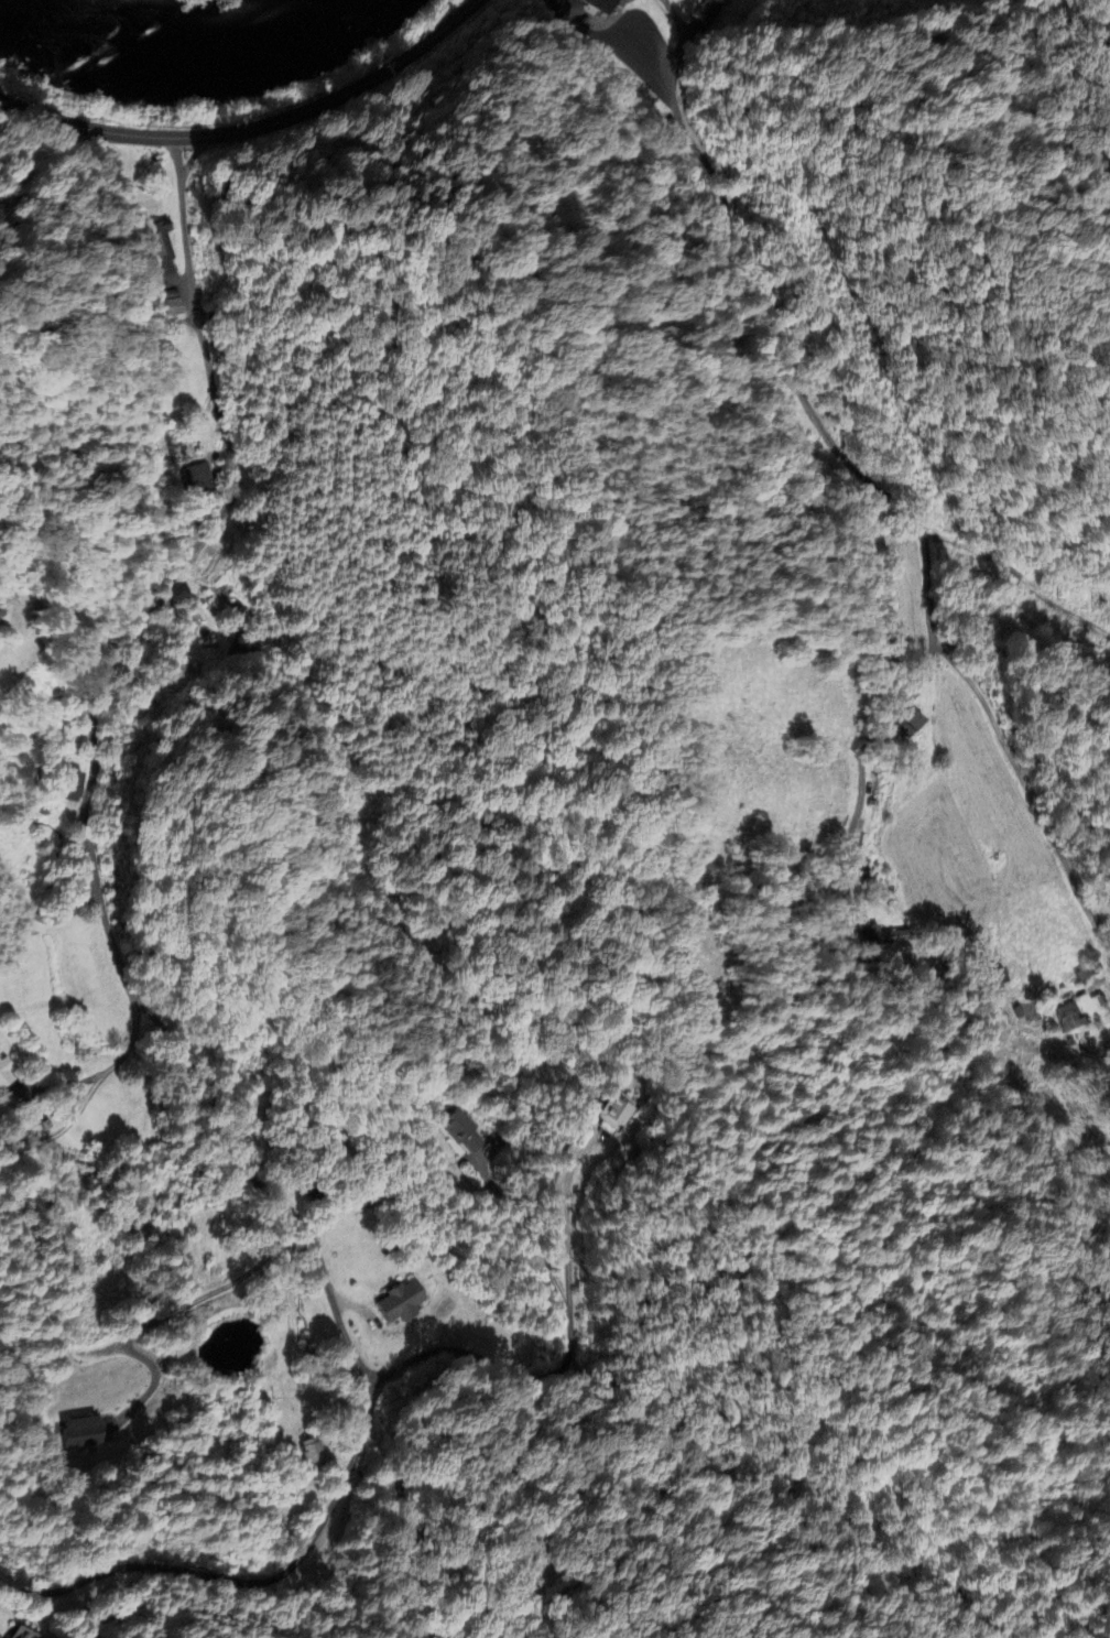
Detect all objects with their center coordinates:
building: (605, 3)
building: (710, 11)
river: (197, 35)
road: (254, 128)
building: (163, 248)
building: (199, 478)
road: (871, 480)
road: (119, 670)
building: (910, 723)
road: (866, 761)
building: (72, 787)
road: (43, 919)
building: (885, 936)
building: (1070, 1018)
building: (7, 1075)
building: (614, 1114)
building: (461, 1132)
building: (315, 1189)
road: (525, 1235)
building: (401, 1303)
road: (165, 1314)
road: (568, 1360)
road: (369, 1413)
building: (81, 1432)
building: (312, 1450)
building: (21, 1634)

